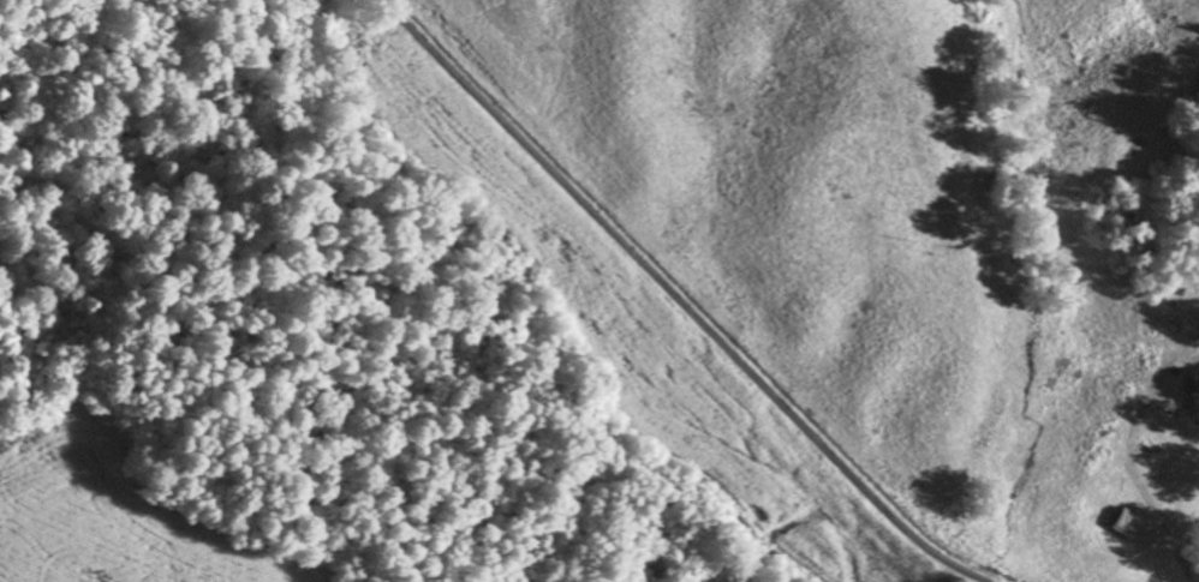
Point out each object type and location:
road: (681, 300)

